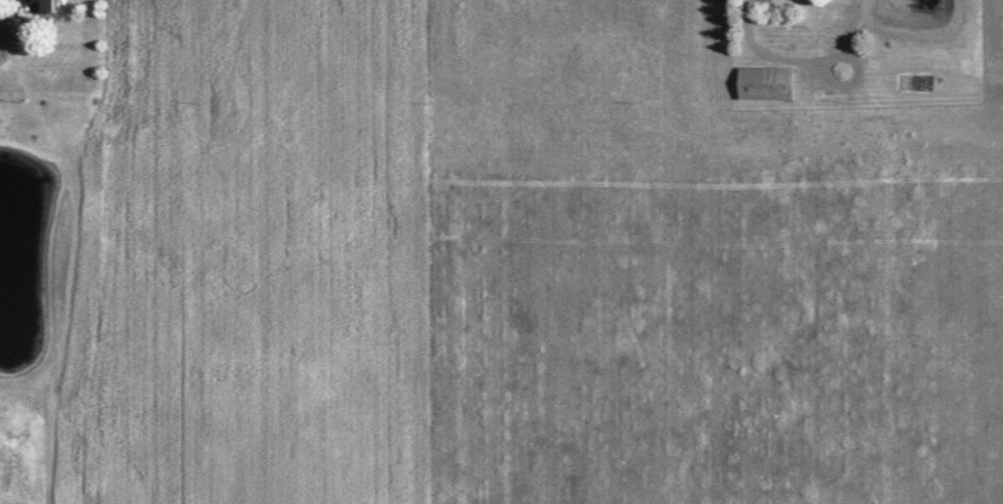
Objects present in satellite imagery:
building: (765, 83)

